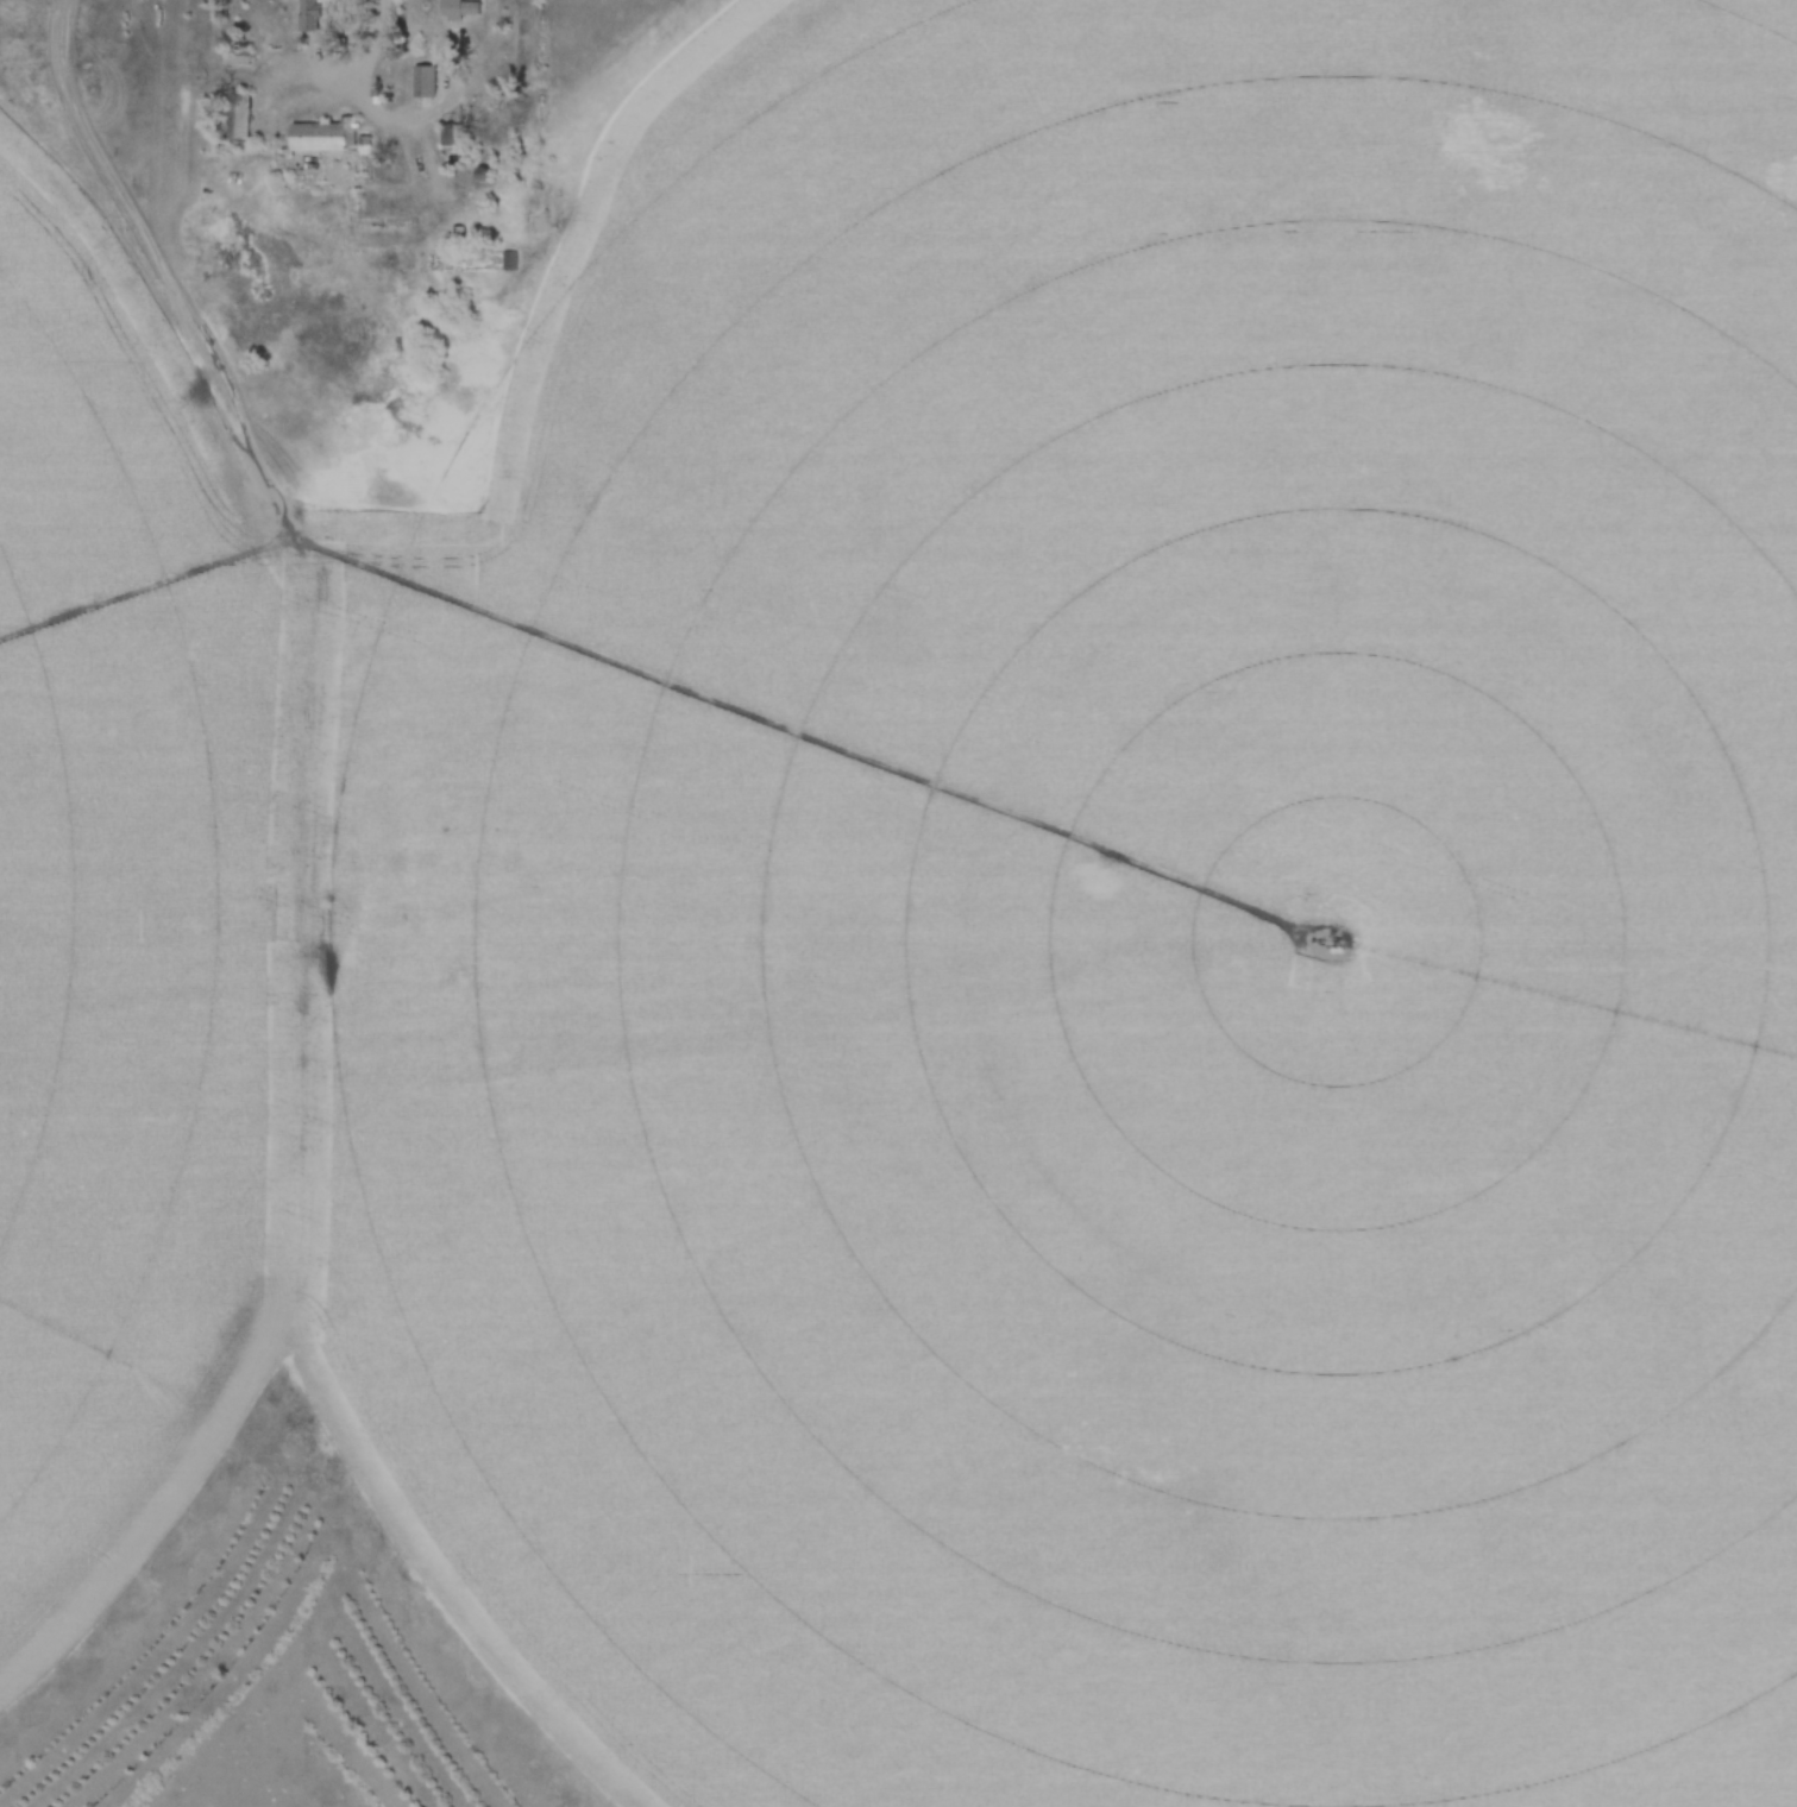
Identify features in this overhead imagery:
building: (458, 11)
building: (309, 15)
building: (423, 82)
road: (365, 99)
building: (235, 119)
building: (450, 136)
building: (323, 137)
building: (484, 175)
silo: (484, 175)
building: (542, 223)
building: (509, 262)

